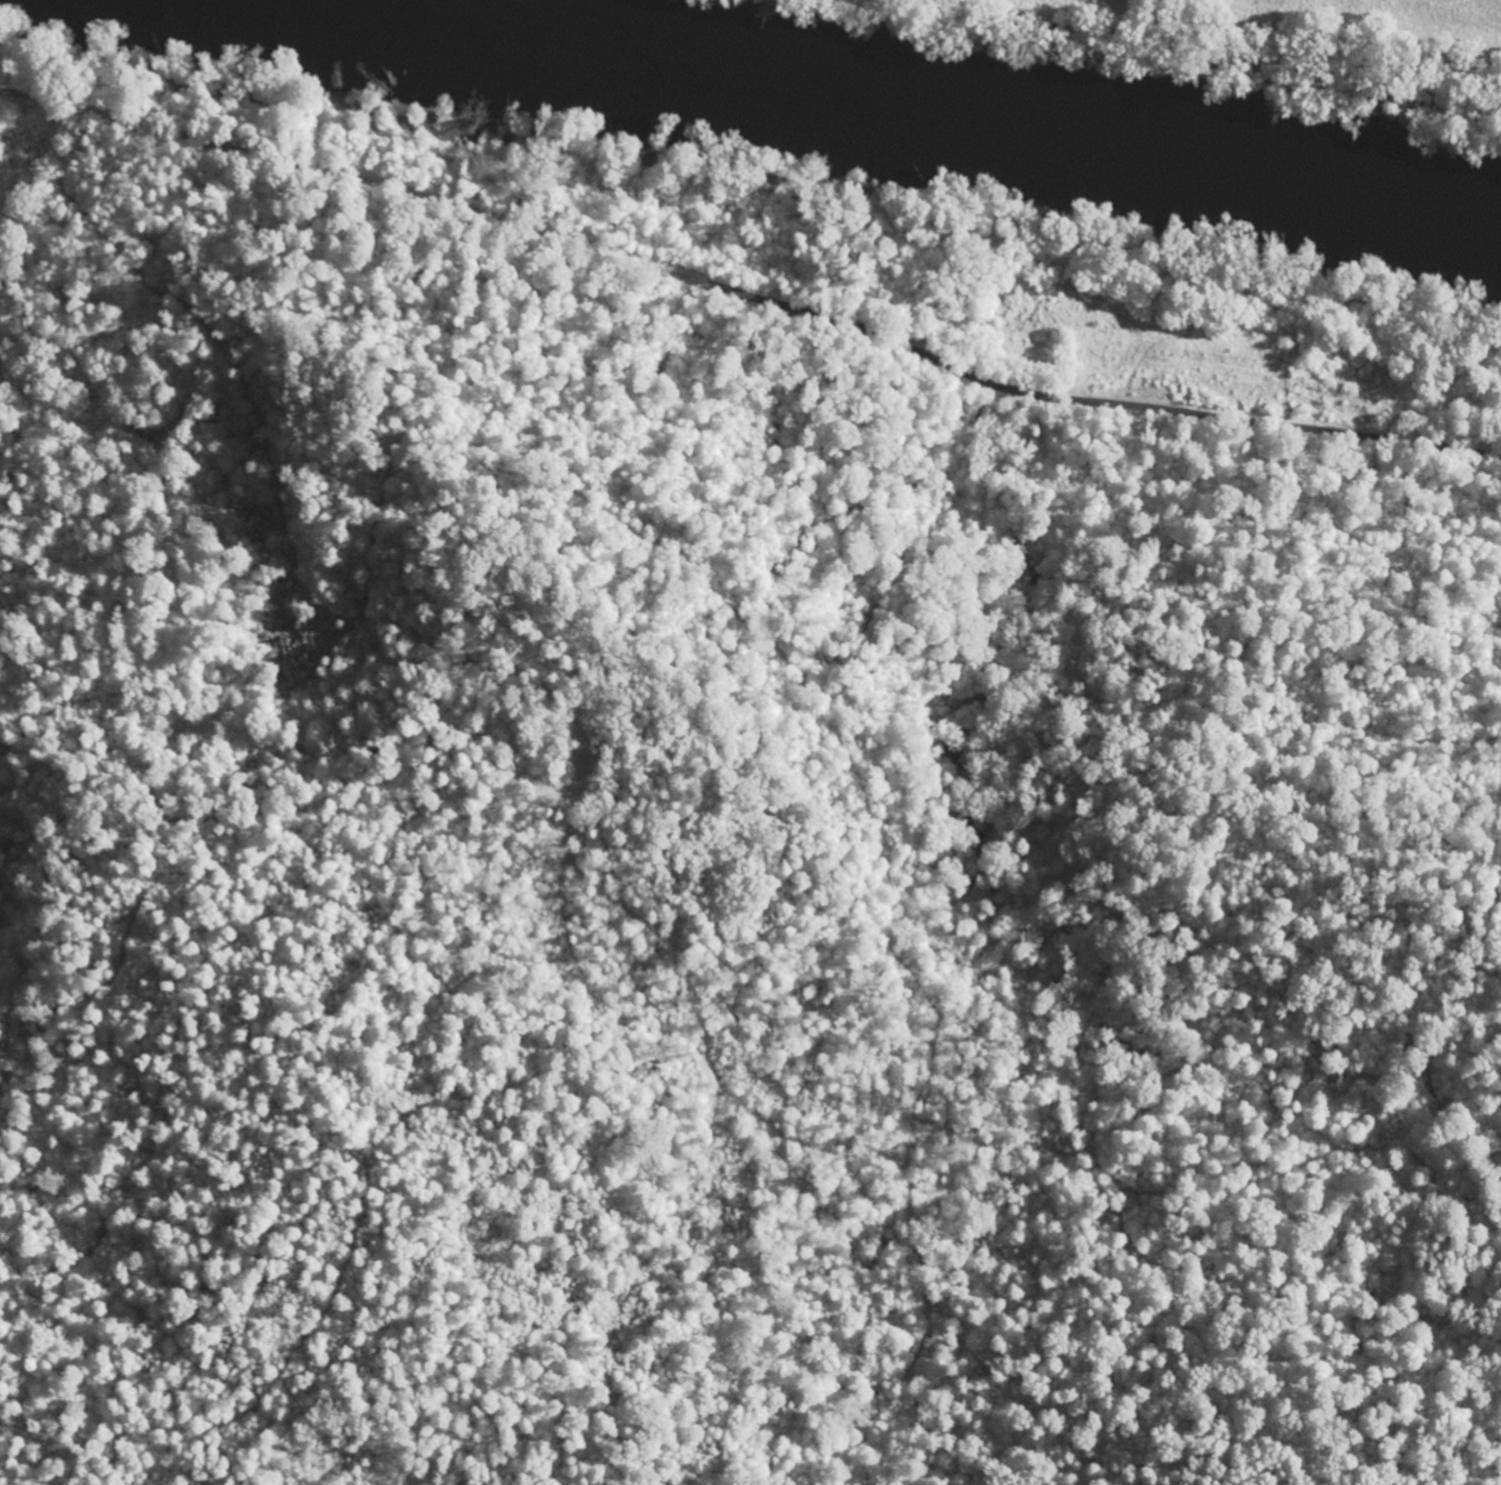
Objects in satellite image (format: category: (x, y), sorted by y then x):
river: (926, 99)
road: (750, 295)
road: (391, 1402)

